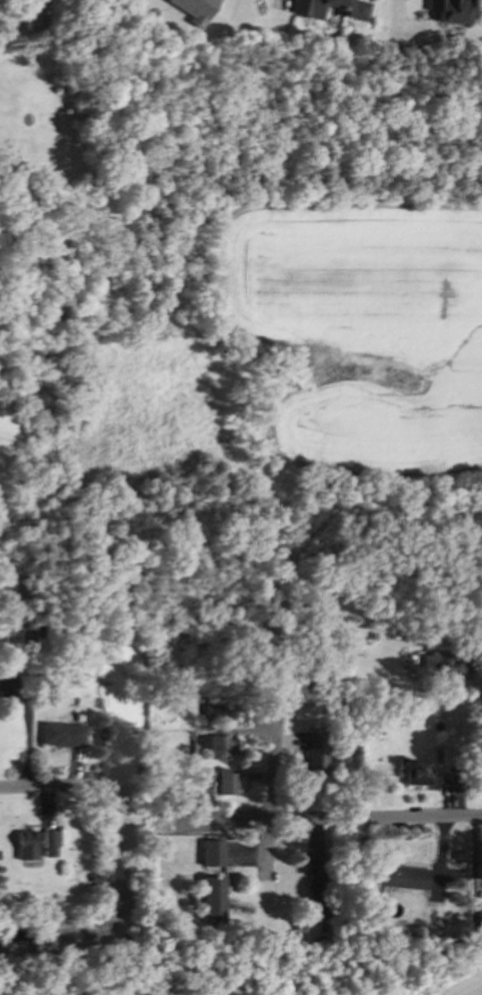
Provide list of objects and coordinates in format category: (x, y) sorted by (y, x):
building: (195, 9)
building: (451, 9)
building: (304, 10)
building: (29, 14)
building: (299, 598)
building: (313, 614)
building: (24, 634)
building: (444, 665)
road: (305, 673)
building: (25, 683)
building: (7, 689)
building: (70, 701)
building: (50, 702)
building: (158, 704)
building: (215, 714)
building: (60, 732)
building: (213, 748)
building: (319, 749)
road: (273, 757)
building: (156, 768)
building: (410, 769)
building: (223, 780)
building: (453, 782)
road: (40, 791)
building: (196, 809)
road: (331, 819)
road: (180, 820)
building: (47, 842)
building: (25, 844)
building: (216, 850)
building: (477, 864)
building: (318, 866)
building: (92, 875)
building: (401, 877)
building: (217, 896)
building: (320, 901)
building: (477, 913)
park: (246, 969)
park: (467, 987)

